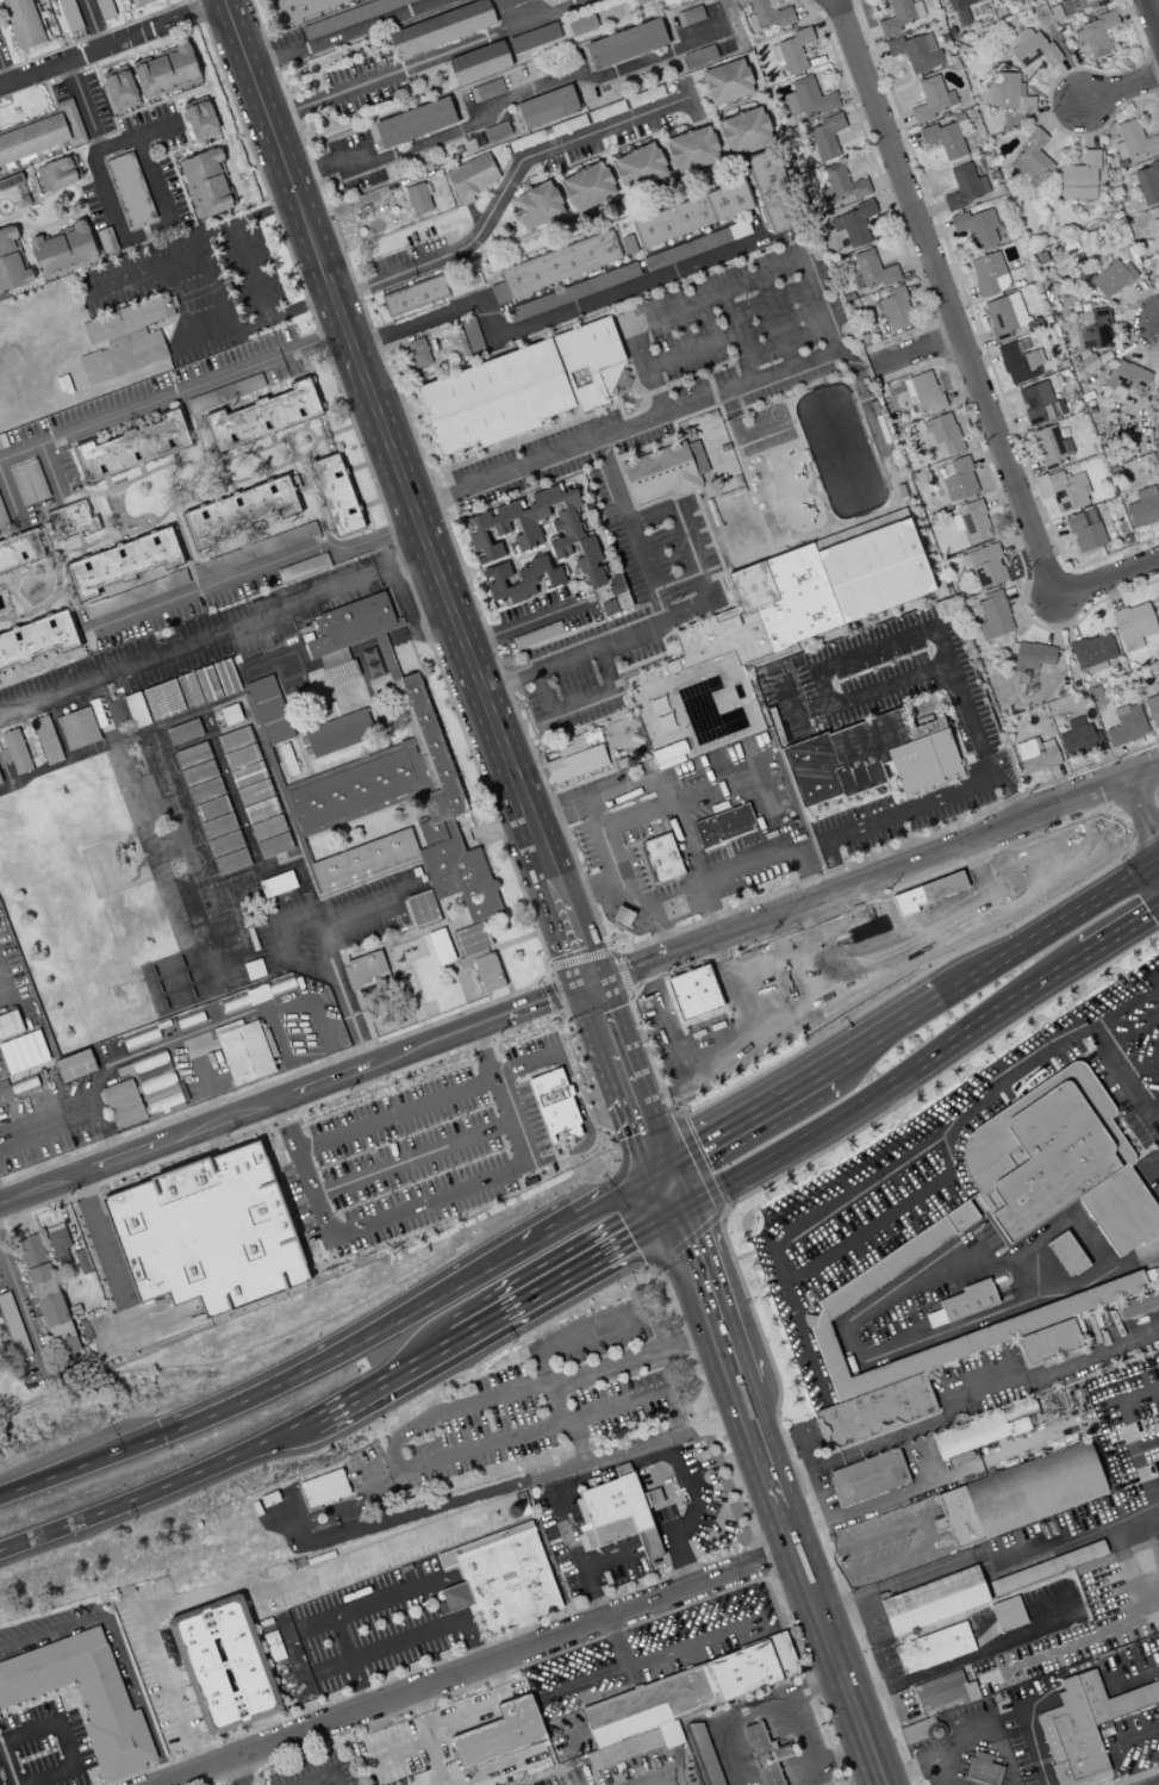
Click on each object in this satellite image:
building: (143, 1)
building: (507, 2)
building: (1078, 5)
building: (300, 6)
building: (104, 8)
building: (960, 11)
building: (69, 14)
building: (768, 14)
building: (688, 15)
building: (901, 15)
road: (191, 18)
road: (1151, 19)
building: (21, 23)
building: (580, 24)
road: (93, 25)
building: (440, 29)
road: (338, 35)
building: (1093, 35)
building: (532, 38)
building: (624, 43)
building: (1032, 46)
building: (792, 51)
building: (915, 51)
building: (699, 56)
road: (77, 58)
road: (430, 61)
building: (478, 62)
building: (166, 71)
road: (2, 79)
building: (725, 81)
road: (538, 85)
road: (1122, 87)
building: (486, 89)
building: (119, 91)
building: (1007, 93)
building: (808, 98)
building: (930, 99)
building: (546, 107)
building: (199, 118)
building: (413, 122)
road: (157, 125)
building: (744, 130)
building: (43, 135)
building: (822, 137)
building: (946, 137)
building: (1133, 142)
building: (694, 150)
building: (1032, 158)
road: (328, 163)
building: (637, 166)
building: (57, 173)
building: (472, 176)
building: (1079, 179)
building: (206, 182)
building: (1147, 182)
building: (840, 186)
building: (965, 186)
building: (129, 189)
road: (500, 189)
building: (587, 189)
building: (767, 189)
building: (417, 199)
building: (535, 205)
building: (692, 214)
road: (245, 217)
building: (854, 223)
building: (1155, 225)
building: (974, 228)
building: (105, 238)
road: (130, 240)
building: (627, 244)
building: (694, 245)
building: (62, 250)
building: (11, 262)
road: (144, 265)
building: (555, 266)
road: (250, 269)
building: (870, 270)
building: (987, 274)
building: (1110, 278)
building: (463, 284)
road: (218, 285)
building: (571, 292)
building: (413, 296)
road: (945, 298)
building: (893, 309)
road: (281, 310)
building: (1004, 313)
road: (775, 318)
road: (552, 319)
building: (1091, 330)
road: (734, 334)
building: (469, 335)
road: (831, 335)
building: (124, 338)
road: (202, 340)
parking lot: (758, 348)
road: (690, 349)
road: (917, 350)
building: (416, 353)
building: (1017, 363)
road: (647, 367)
building: (1123, 377)
building: (1158, 377)
building: (521, 388)
building: (224, 392)
building: (922, 392)
road: (172, 393)
building: (1036, 403)
building: (263, 416)
building: (941, 434)
road: (384, 439)
building: (1, 443)
building: (132, 447)
building: (1049, 447)
building: (663, 471)
building: (958, 479)
building: (27, 483)
building: (1066, 491)
building: (336, 495)
building: (1144, 508)
building: (239, 510)
road: (45, 512)
road: (673, 515)
building: (2, 518)
building: (69, 521)
building: (972, 522)
building: (522, 524)
road: (10, 530)
building: (1084, 530)
building: (18, 551)
parking lot: (667, 559)
building: (120, 562)
building: (588, 562)
building: (984, 565)
road: (250, 567)
building: (298, 568)
road: (646, 570)
building: (518, 579)
road: (1107, 579)
building: (809, 595)
building: (615, 599)
building: (1157, 603)
road: (409, 614)
building: (992, 616)
building: (355, 618)
road: (522, 620)
building: (1133, 624)
building: (318, 627)
road: (213, 633)
road: (360, 635)
building: (307, 636)
building: (37, 639)
building: (525, 640)
road: (887, 641)
park: (940, 642)
building: (317, 643)
building: (1092, 653)
building: (1032, 655)
park: (893, 659)
building: (385, 660)
park: (275, 666)
park: (856, 673)
building: (226, 676)
building: (343, 680)
parking lot: (574, 680)
building: (208, 683)
park: (820, 686)
building: (191, 690)
building: (163, 699)
road: (584, 699)
building: (781, 701)
park: (781, 701)
building: (138, 709)
building: (270, 709)
building: (1152, 709)
building: (99, 713)
building: (232, 714)
road: (787, 717)
building: (74, 724)
building: (1126, 724)
building: (185, 732)
building: (338, 733)
road: (212, 734)
road: (61, 735)
building: (1078, 738)
building: (237, 739)
building: (46, 740)
building: (17, 751)
building: (667, 751)
building: (1035, 754)
building: (194, 755)
building: (431, 755)
building: (243, 757)
building: (288, 759)
building: (870, 759)
road: (1, 760)
building: (574, 760)
road: (348, 764)
road: (49, 767)
road: (6, 773)
building: (200, 773)
building: (249, 775)
road: (428, 776)
building: (1, 777)
building: (0, 782)
road: (10, 785)
building: (359, 786)
building: (207, 790)
building: (256, 792)
road: (662, 794)
road: (233, 800)
building: (213, 809)
road: (288, 809)
building: (262, 810)
road: (1141, 813)
road: (889, 816)
road: (631, 817)
building: (220, 826)
building: (723, 826)
building: (269, 828)
road: (493, 829)
building: (430, 833)
building: (226, 842)
building: (274, 846)
road: (771, 856)
parking lot: (1067, 857)
building: (360, 858)
building: (661, 858)
building: (232, 862)
road: (904, 864)
road: (1042, 870)
road: (1144, 875)
building: (459, 876)
park: (183, 882)
building: (275, 884)
road: (613, 885)
road: (586, 890)
road: (674, 902)
road: (973, 902)
park: (75, 903)
road: (325, 908)
building: (420, 909)
road: (357, 915)
building: (621, 916)
road: (806, 921)
road: (864, 923)
road: (285, 925)
road: (455, 925)
road: (1048, 928)
road: (445, 929)
road: (569, 929)
road: (1123, 933)
road: (530, 934)
building: (251, 938)
building: (469, 939)
parking lot: (818, 939)
road: (393, 940)
parking lot: (877, 943)
building: (438, 946)
building: (471, 959)
building: (847, 962)
building: (367, 965)
road: (500, 965)
building: (254, 969)
building: (488, 971)
road: (619, 972)
road: (137, 981)
building: (476, 981)
road: (719, 982)
park: (466, 985)
road: (356, 994)
building: (253, 995)
building: (363, 996)
road: (490, 1001)
road: (31, 1006)
road: (1066, 1006)
road: (867, 1007)
road: (417, 1010)
building: (10, 1024)
road: (353, 1024)
road: (606, 1027)
road: (881, 1034)
road: (1132, 1034)
road: (176, 1038)
building: (141, 1040)
building: (23, 1052)
building: (243, 1053)
road: (679, 1063)
building: (74, 1065)
road: (1141, 1069)
road: (488, 1074)
road: (206, 1077)
road: (465, 1081)
road: (1124, 1081)
building: (152, 1082)
building: (18, 1088)
road: (884, 1089)
road: (295, 1095)
building: (121, 1103)
building: (554, 1106)
road: (575, 1106)
road: (1152, 1108)
road: (99, 1112)
road: (675, 1114)
road: (638, 1120)
road: (741, 1120)
road: (288, 1122)
road: (432, 1146)
road: (889, 1155)
road: (698, 1165)
building: (1053, 1165)
traffic signals: (659, 1169)
road: (667, 1192)
road: (1, 1200)
road: (588, 1207)
road: (885, 1212)
traffic signals: (675, 1214)
road: (384, 1217)
building: (206, 1233)
building: (57, 1242)
road: (102, 1243)
road: (752, 1251)
road: (730, 1254)
building: (1066, 1254)
building: (81, 1261)
road: (1133, 1261)
road: (565, 1276)
building: (44, 1287)
parking lot: (619, 1298)
road: (705, 1300)
building: (967, 1300)
building: (1136, 1305)
building: (1043, 1314)
road: (21, 1317)
road: (847, 1320)
building: (1077, 1323)
building: (12, 1326)
building: (1048, 1341)
road: (385, 1379)
road: (266, 1385)
road: (538, 1389)
road: (982, 1395)
parking lot: (528, 1402)
building: (1017, 1410)
building: (873, 1411)
road: (465, 1430)
building: (1130, 1431)
traffic signals: (162, 1432)
building: (968, 1435)
road: (513, 1437)
road: (756, 1449)
road: (1130, 1455)
road: (580, 1456)
road: (681, 1457)
road: (646, 1473)
building: (1138, 1474)
road: (812, 1475)
building: (867, 1476)
road: (933, 1479)
road: (158, 1488)
building: (324, 1488)
building: (1018, 1494)
road: (655, 1497)
building: (618, 1512)
road: (786, 1532)
road: (922, 1532)
road: (755, 1541)
road: (647, 1542)
road: (1072, 1543)
road: (674, 1544)
road: (609, 1555)
road: (764, 1559)
road: (797, 1563)
road: (768, 1576)
building: (499, 1579)
road: (242, 1584)
building: (931, 1600)
road: (579, 1610)
building: (1008, 1613)
road: (845, 1625)
road: (471, 1640)
road: (587, 1641)
road: (117, 1642)
road: (829, 1647)
building: (934, 1647)
road: (968, 1656)
road: (292, 1660)
road: (668, 1662)
building: (224, 1665)
road: (473, 1665)
road: (1130, 1671)
road: (359, 1681)
building: (690, 1690)
building: (943, 1690)
road: (43, 1696)
building: (83, 1696)
building: (1114, 1697)
road: (77, 1699)
road: (31, 1700)
road: (75, 1703)
road: (19, 1705)
road: (62, 1708)
road: (6, 1709)
road: (422, 1709)
road: (747, 1710)
road: (82, 1712)
road: (445, 1723)
road: (978, 1727)
road: (247, 1728)
building: (922, 1730)
road: (2, 1733)
building: (499, 1734)
building: (669, 1734)
building: (1071, 1736)
road: (802, 1740)
road: (1142, 1741)
road: (63, 1742)
building: (628, 1747)
building: (700, 1753)
building: (765, 1753)
road: (837, 1754)
road: (1036, 1758)
road: (431, 1760)
road: (523, 1761)
road: (7, 1764)
building: (982, 1768)
road: (906, 1770)
road: (235, 1771)
road: (653, 1772)
road: (320, 1775)
road: (1138, 1777)
gas station: (831, 1781)

